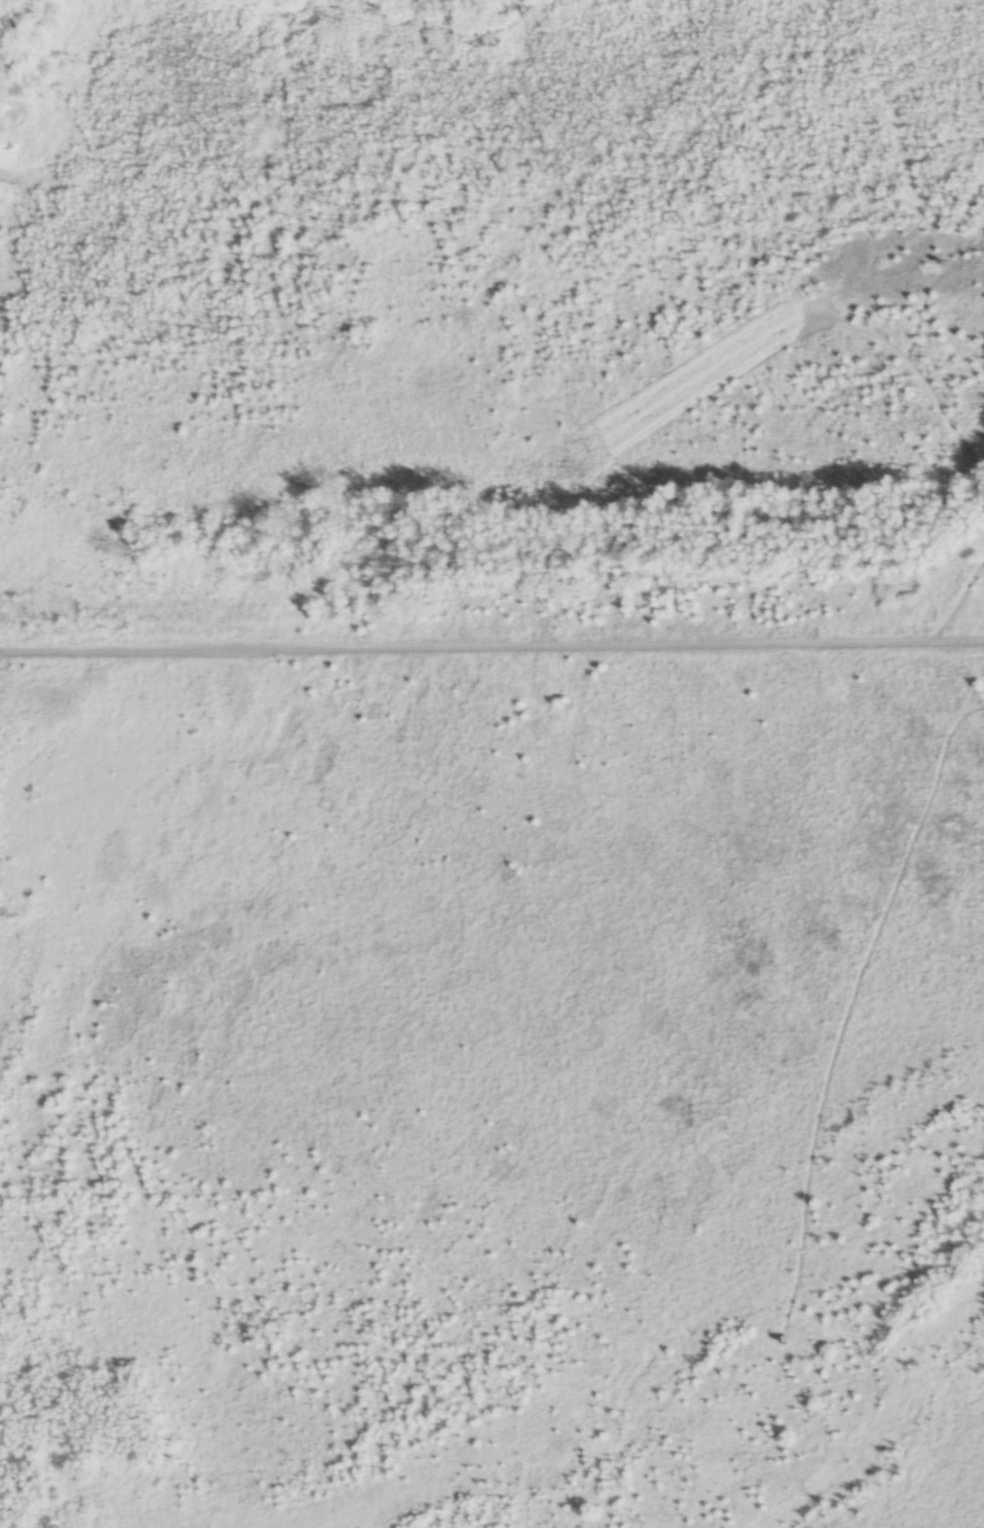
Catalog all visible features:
road: (492, 650)

